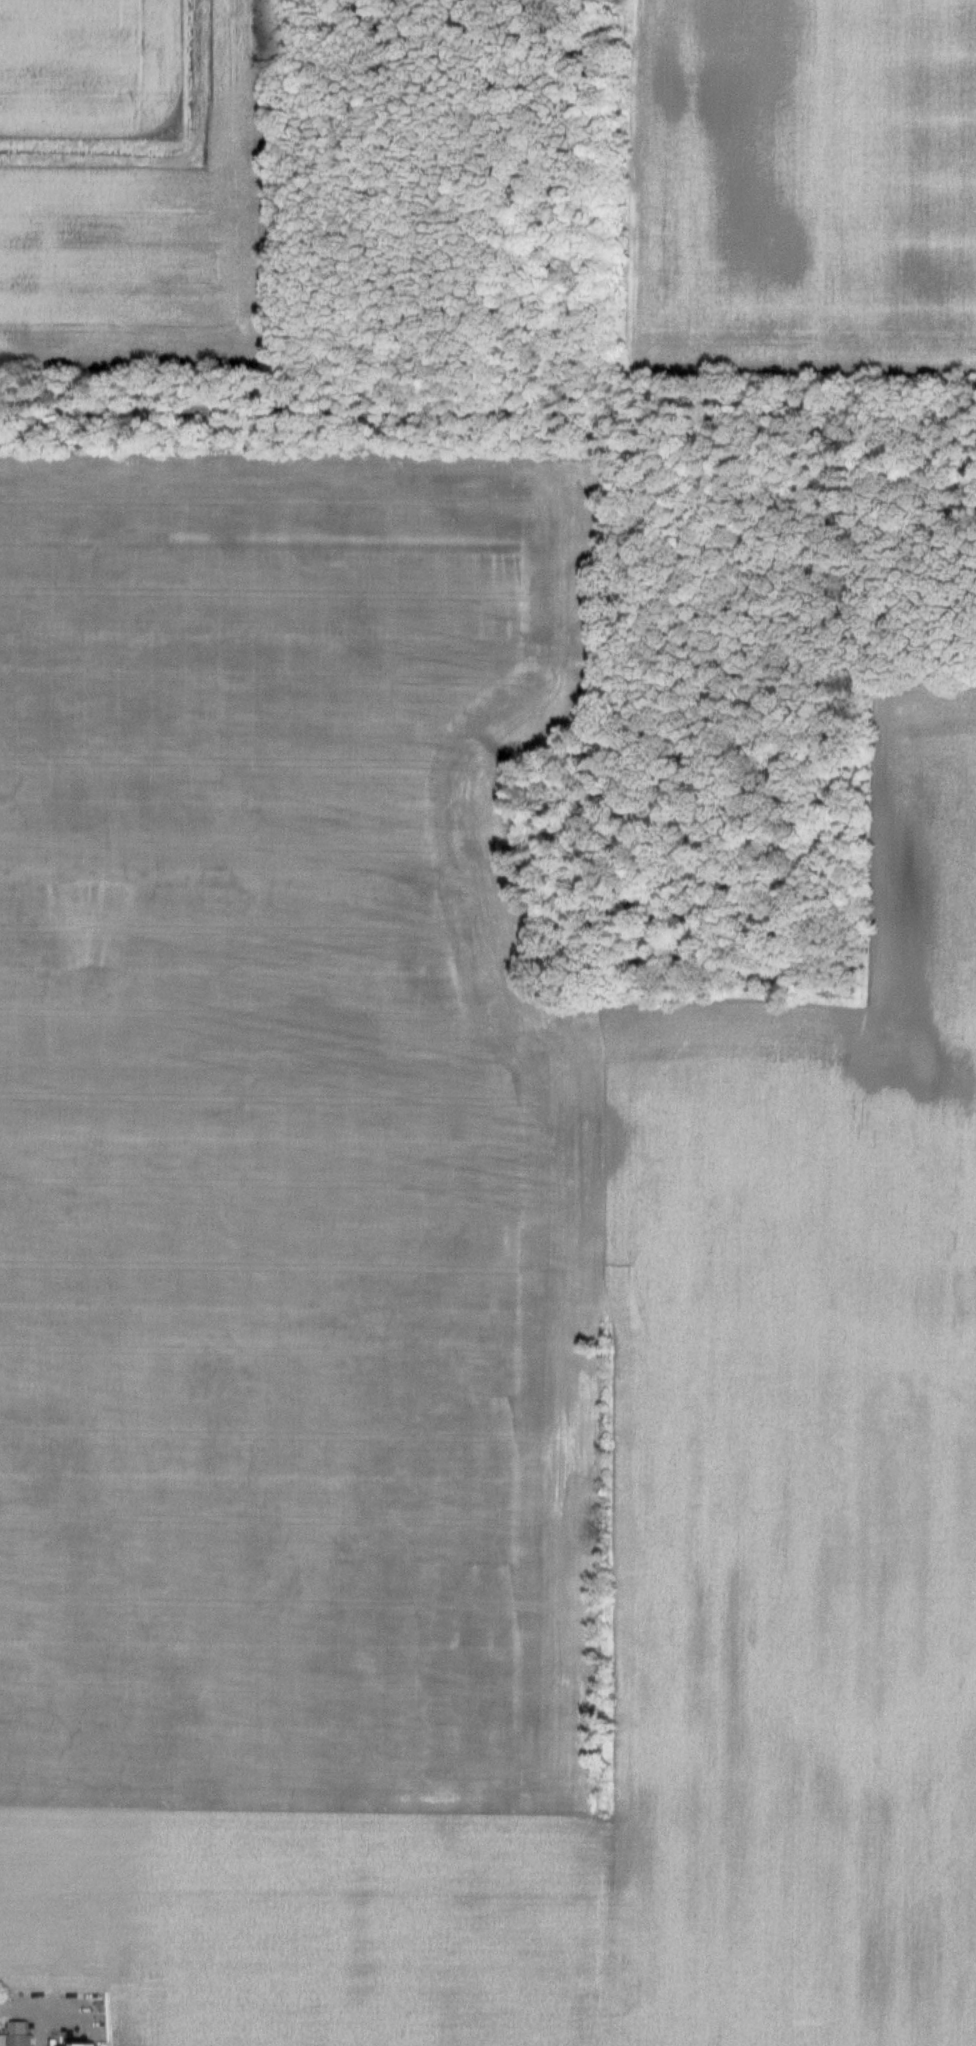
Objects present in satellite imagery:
railway: (488, 410)
road: (63, 2006)
building: (21, 2039)
building: (0, 2042)
building: (76, 2044)

